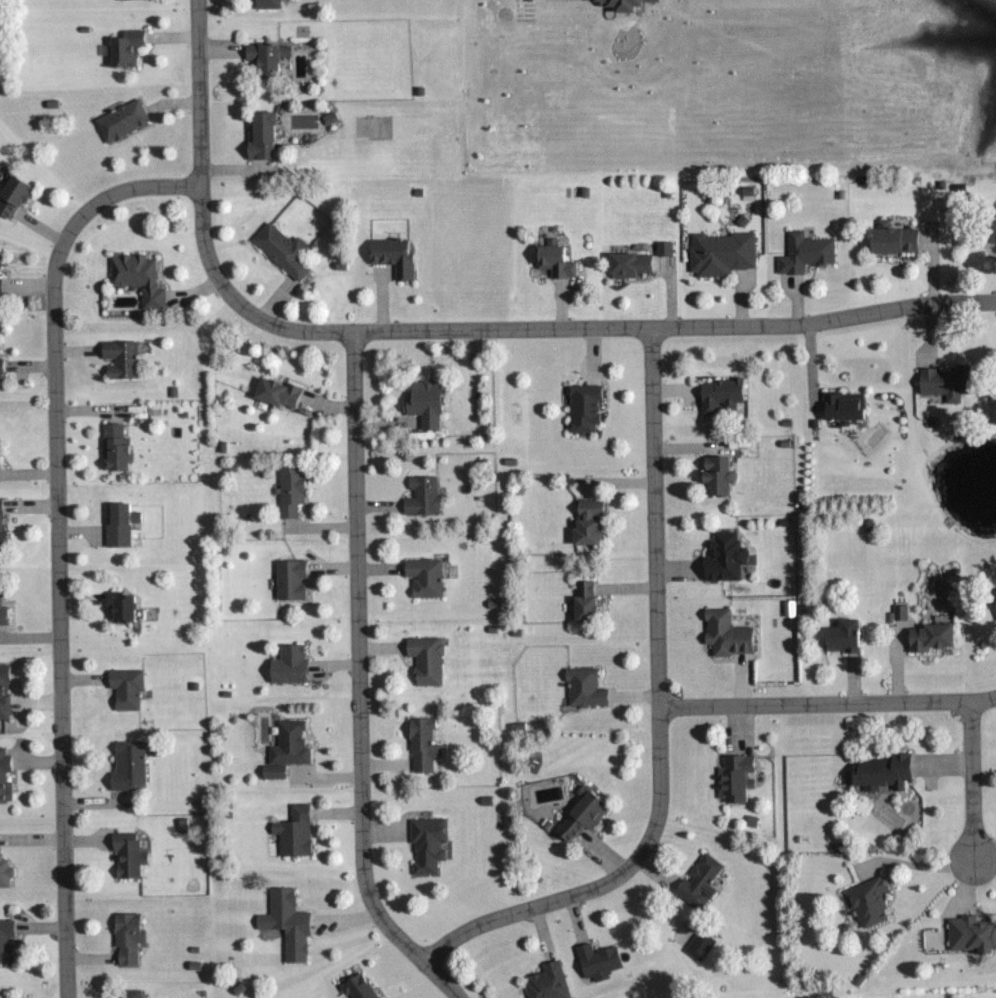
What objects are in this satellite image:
building: (266, 4)
building: (620, 4)
building: (123, 47)
building: (265, 56)
road: (198, 93)
building: (329, 118)
building: (120, 120)
building: (259, 135)
building: (11, 195)
building: (990, 233)
building: (890, 238)
building: (663, 247)
building: (281, 250)
building: (804, 252)
building: (721, 253)
building: (391, 256)
building: (552, 261)
building: (627, 264)
building: (136, 277)
building: (0, 300)
road: (550, 327)
building: (118, 358)
building: (1, 366)
building: (942, 382)
building: (274, 392)
building: (719, 394)
building: (422, 403)
building: (840, 406)
building: (582, 407)
building: (113, 447)
building: (715, 475)
building: (290, 489)
building: (421, 495)
building: (585, 521)
building: (117, 523)
building: (1, 526)
road: (57, 540)
building: (723, 557)
building: (423, 577)
building: (289, 579)
building: (583, 601)
building: (992, 601)
building: (119, 607)
building: (788, 608)
building: (899, 612)
building: (3, 614)
building: (725, 633)
building: (841, 636)
building: (929, 637)
building: (424, 659)
building: (287, 665)
road: (359, 682)
building: (584, 687)
building: (124, 688)
building: (3, 691)
road: (828, 703)
road: (660, 715)
building: (289, 744)
building: (421, 745)
building: (126, 766)
building: (272, 771)
building: (880, 773)
building: (4, 776)
building: (734, 777)
road: (973, 780)
building: (579, 816)
building: (293, 831)
building: (121, 835)
building: (427, 844)
building: (127, 858)
road: (921, 865)
building: (4, 873)
building: (698, 881)
building: (867, 902)
building: (286, 923)
building: (971, 934)
building: (125, 939)
building: (5, 940)
building: (698, 946)
building: (596, 961)
building: (547, 982)
building: (357, 986)
building: (127, 993)

